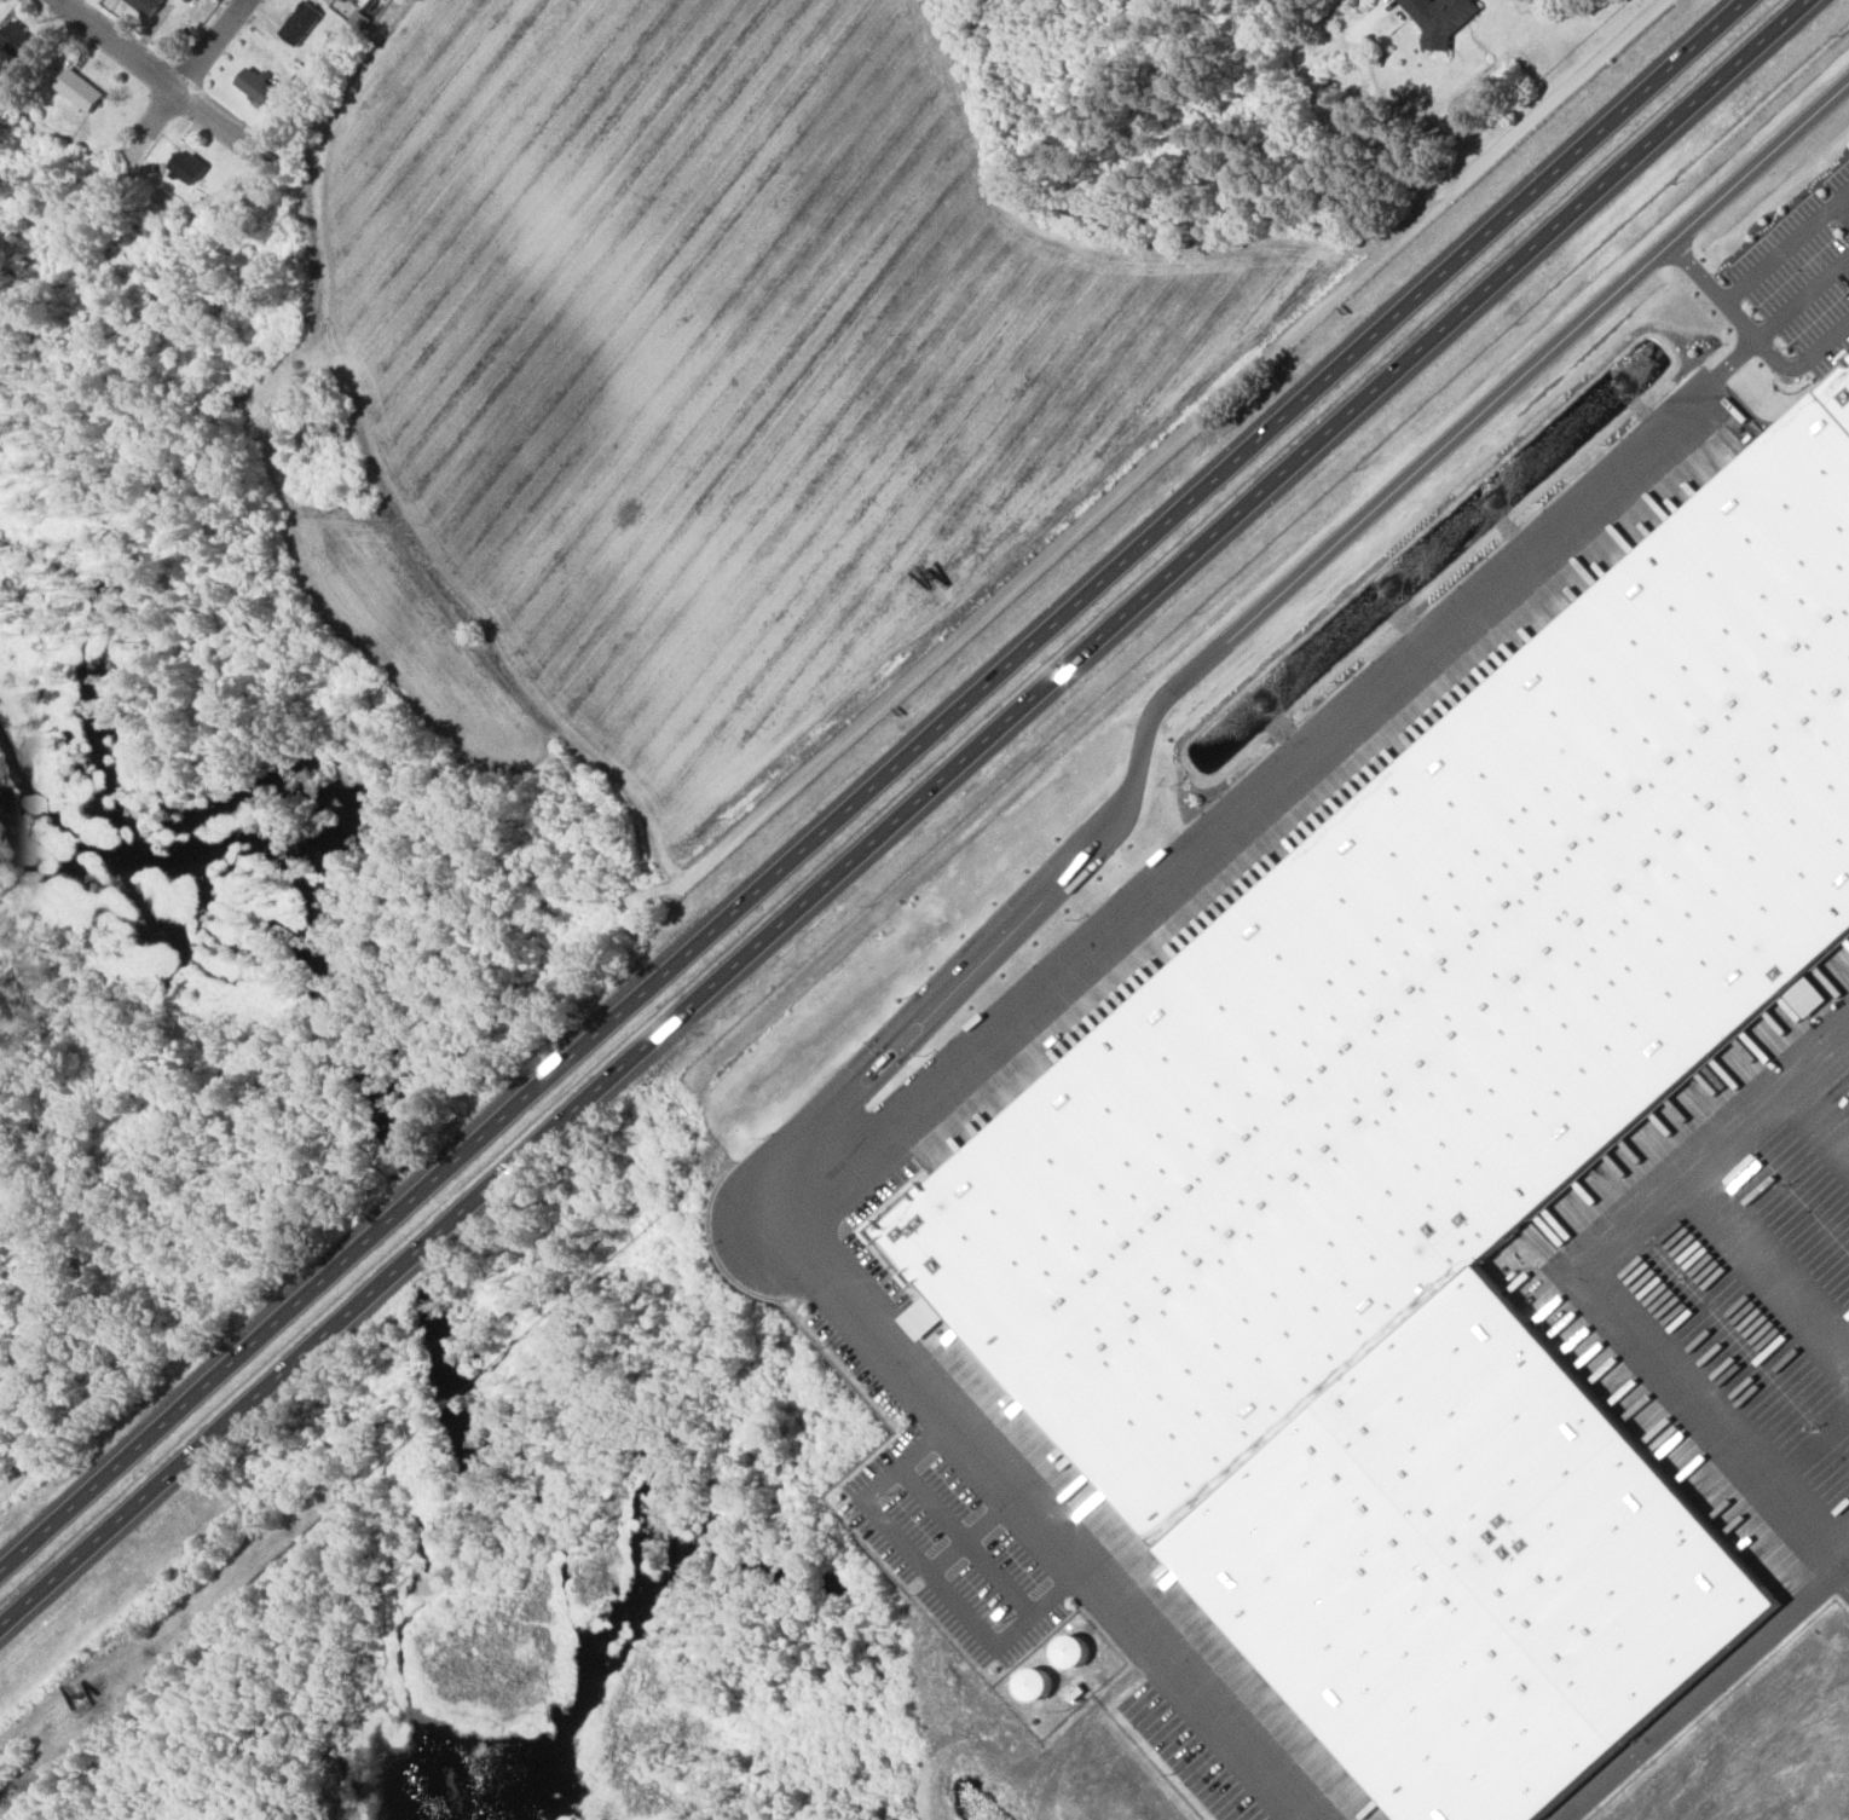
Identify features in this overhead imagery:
building: (144, 6)
building: (1438, 17)
building: (299, 24)
building: (16, 44)
road: (210, 45)
road: (155, 75)
building: (259, 91)
building: (77, 92)
building: (181, 172)
road: (1841, 213)
road: (1785, 245)
road: (1802, 299)
road: (1803, 363)
fountain: (1618, 385)
road: (1469, 421)
road: (1186, 435)
fountain: (1492, 499)
fountain: (1379, 601)
road: (1368, 697)
fountain: (1260, 706)
road: (879, 787)
road: (907, 816)
road: (913, 1027)
building: (894, 1061)
road: (1818, 1110)
building: (1446, 1169)
road: (1766, 1266)
road: (1716, 1422)
road: (63, 1443)
road: (1046, 1518)
road: (980, 1532)
road: (972, 1538)
road: (1845, 1559)
road: (935, 1571)
building: (1076, 1651)
building: (1040, 1681)

